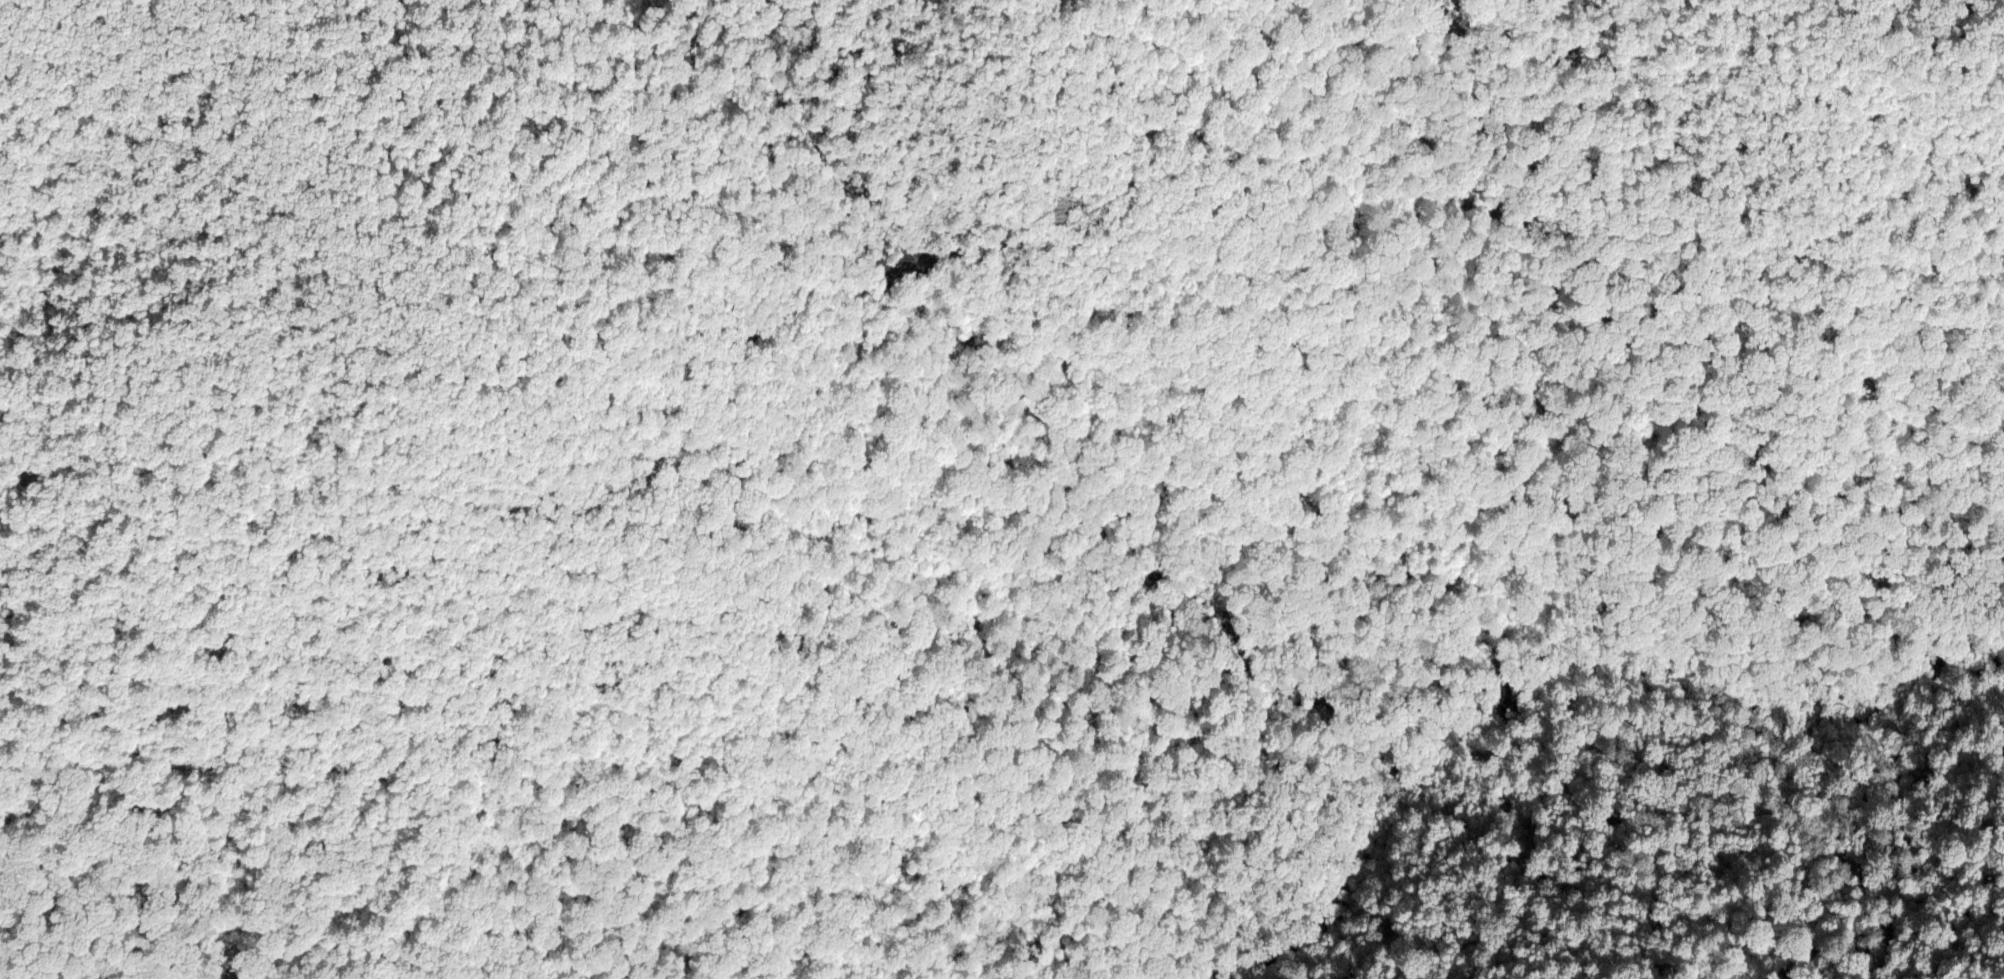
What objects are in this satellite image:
road: (1889, 45)
road: (1525, 666)

